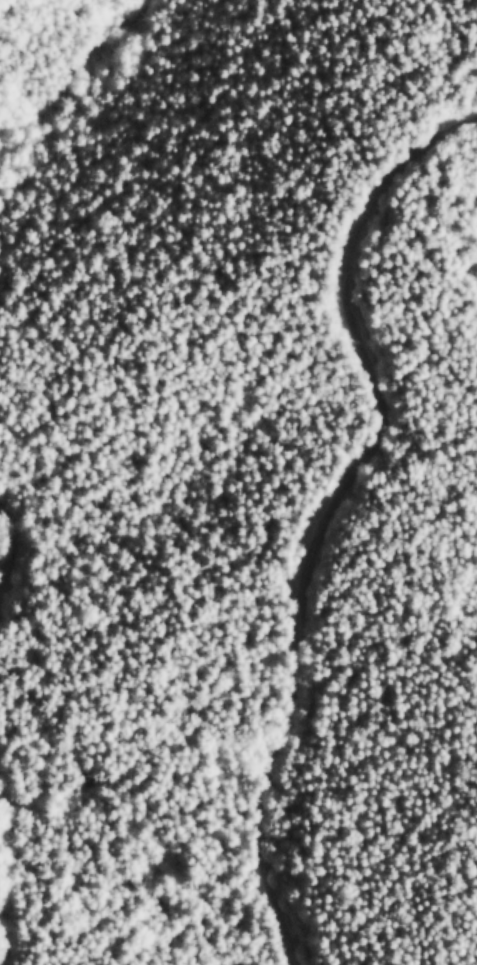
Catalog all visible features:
road: (363, 533)
road: (4, 905)

